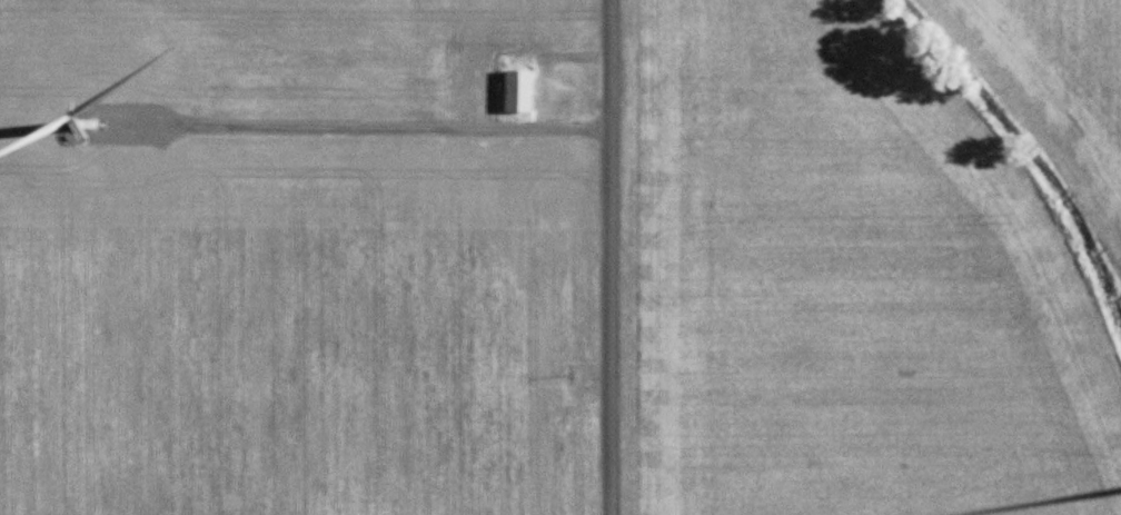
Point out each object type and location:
building: (517, 91)
wind turbine: (47, 122)
road: (381, 128)
road: (608, 257)

